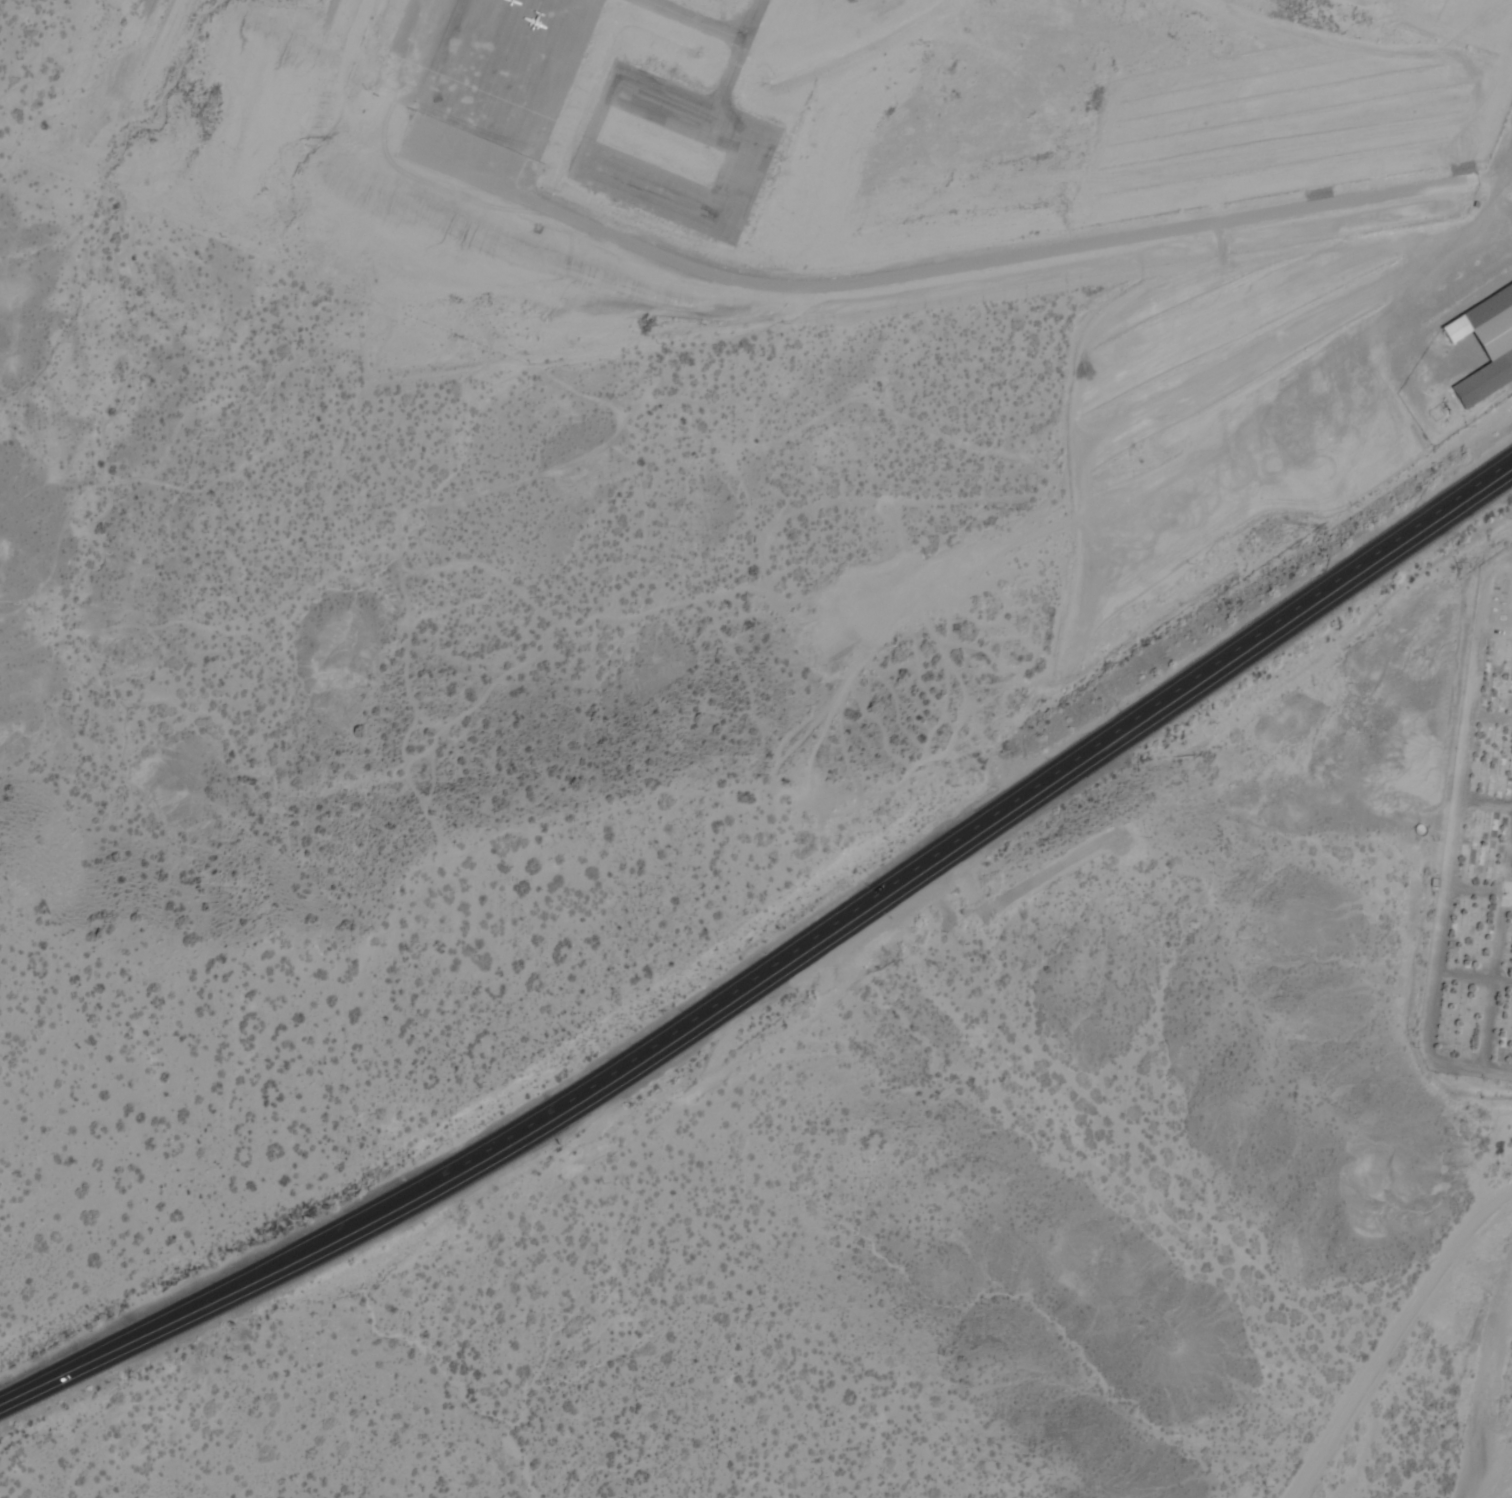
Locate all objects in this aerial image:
airport taxiway: (714, 23)
airport taxiway: (724, 82)
airport: (745, 141)
building: (1486, 344)
park: (1474, 878)
road: (777, 963)
road: (1387, 1336)
river: (1505, 1477)

